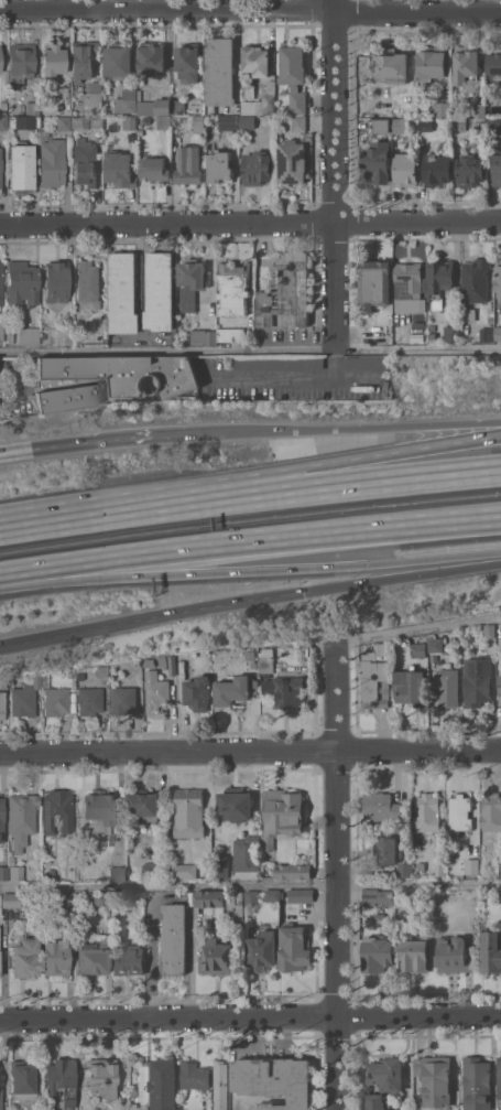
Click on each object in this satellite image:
road: (335, 4)
road: (167, 9)
road: (417, 13)
building: (0, 49)
building: (84, 58)
building: (151, 58)
building: (52, 61)
building: (118, 62)
building: (187, 62)
building: (432, 62)
building: (21, 63)
building: (465, 63)
building: (292, 64)
building: (494, 64)
building: (389, 65)
building: (0, 66)
building: (254, 66)
building: (220, 71)
building: (95, 98)
building: (128, 100)
building: (297, 100)
building: (261, 103)
building: (3, 105)
building: (177, 106)
building: (32, 107)
building: (154, 107)
building: (458, 108)
building: (22, 110)
building: (442, 110)
building: (479, 110)
building: (97, 120)
building: (80, 121)
building: (163, 121)
building: (23, 122)
building: (63, 122)
building: (129, 122)
building: (228, 122)
building: (247, 122)
building: (298, 122)
building: (3, 123)
building: (198, 123)
building: (459, 125)
building: (379, 126)
building: (399, 126)
building: (426, 126)
building: (493, 126)
building: (140, 132)
building: (52, 162)
building: (85, 162)
building: (292, 162)
building: (377, 162)
building: (188, 164)
building: (21, 165)
building: (0, 168)
building: (219, 168)
building: (257, 168)
building: (119, 170)
building: (154, 170)
building: (405, 170)
building: (436, 170)
building: (469, 170)
building: (497, 170)
road: (335, 177)
road: (250, 224)
building: (498, 278)
building: (475, 280)
building: (55, 281)
building: (439, 281)
building: (22, 282)
building: (190, 282)
building: (407, 282)
building: (1, 283)
building: (88, 284)
building: (373, 284)
building: (232, 288)
building: (160, 292)
building: (286, 292)
building: (123, 293)
building: (470, 314)
building: (490, 317)
building: (431, 327)
building: (1, 332)
building: (451, 333)
building: (498, 333)
building: (486, 334)
building: (23, 335)
building: (102, 335)
building: (230, 335)
building: (203, 336)
building: (432, 336)
road: (167, 351)
building: (368, 362)
building: (280, 363)
road: (292, 374)
building: (110, 379)
road: (334, 429)
road: (83, 443)
road: (336, 463)
road: (337, 487)
road: (87, 516)
road: (250, 548)
road: (250, 572)
road: (401, 579)
traffic signals: (303, 595)
road: (151, 621)
road: (417, 627)
building: (489, 631)
building: (435, 644)
building: (383, 649)
building: (417, 649)
building: (307, 650)
building: (251, 655)
building: (266, 655)
building: (164, 660)
building: (254, 664)
building: (268, 664)
building: (172, 665)
building: (260, 666)
building: (146, 668)
building: (100, 671)
building: (70, 675)
building: (79, 675)
building: (45, 681)
building: (477, 681)
building: (373, 682)
building: (2, 683)
building: (410, 686)
building: (500, 687)
building: (448, 688)
building: (236, 690)
building: (287, 691)
building: (197, 692)
building: (156, 693)
building: (24, 698)
building: (89, 700)
building: (123, 700)
building: (55, 701)
building: (2, 704)
road: (250, 751)
building: (143, 804)
building: (235, 804)
building: (382, 807)
building: (57, 811)
building: (99, 811)
building: (427, 811)
building: (188, 812)
building: (459, 812)
building: (491, 812)
building: (282, 815)
building: (21, 819)
building: (1, 820)
building: (102, 841)
building: (385, 849)
building: (247, 853)
building: (470, 865)
building: (220, 866)
building: (439, 869)
building: (148, 870)
building: (182, 871)
building: (404, 871)
building: (499, 871)
building: (15, 872)
building: (293, 872)
building: (3, 873)
building: (48, 873)
building: (117, 873)
building: (246, 875)
road: (335, 875)
building: (268, 877)
road: (250, 882)
building: (118, 895)
building: (272, 895)
building: (301, 895)
building: (500, 895)
building: (377, 896)
building: (100, 897)
building: (251, 897)
building: (0, 898)
building: (208, 898)
building: (402, 898)
building: (20, 901)
building: (235, 906)
building: (379, 918)
building: (173, 939)
building: (294, 948)
building: (262, 950)
building: (490, 952)
building: (377, 955)
building: (414, 955)
building: (453, 955)
building: (56, 957)
building: (215, 957)
building: (25, 958)
building: (92, 958)
road: (151, 958)
building: (128, 959)
road: (429, 995)
road: (250, 1015)
building: (194, 1075)
building: (102, 1076)
building: (499, 1077)
building: (435, 1079)
building: (21, 1080)
building: (61, 1080)
building: (383, 1080)
building: (275, 1081)
building: (476, 1084)
building: (163, 1085)
building: (219, 1085)
building: (131, 1091)
building: (0, 1098)

